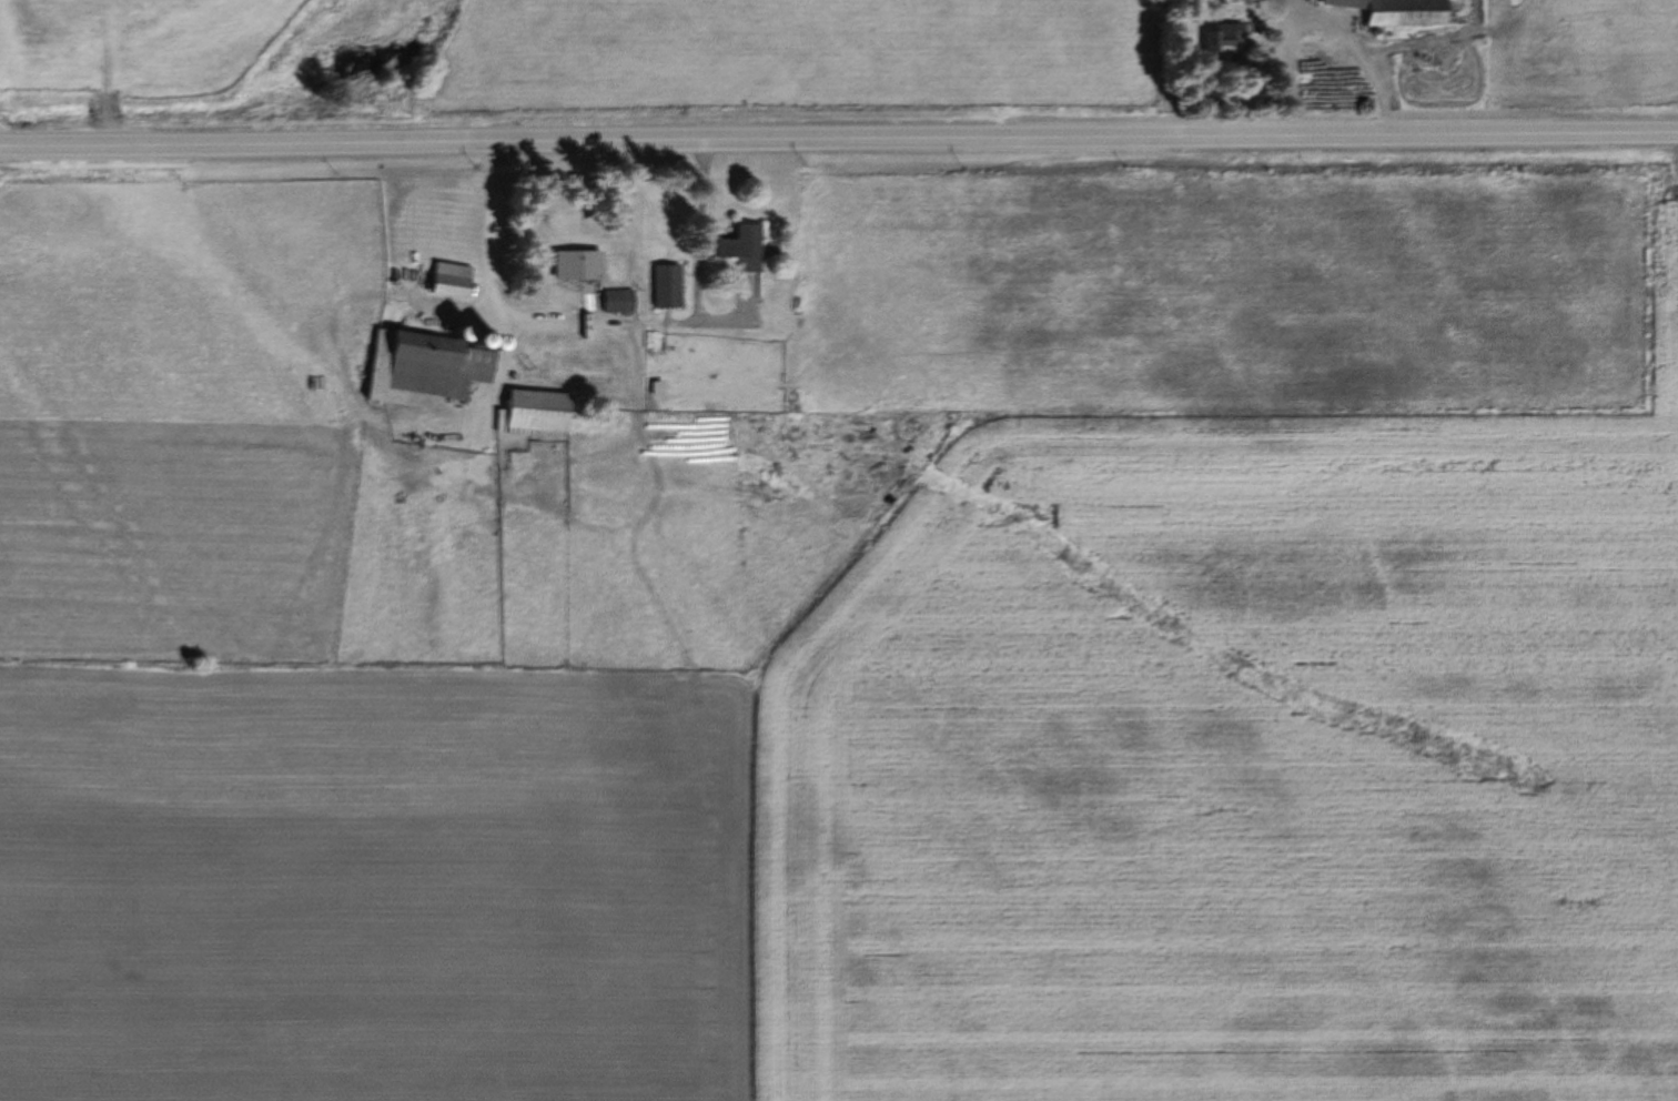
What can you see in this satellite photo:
building: (1392, 12)
building: (1217, 39)
road: (838, 139)
building: (735, 249)
building: (569, 266)
road: (486, 280)
building: (445, 281)
building: (660, 287)
building: (611, 302)
building: (423, 364)
building: (530, 413)

